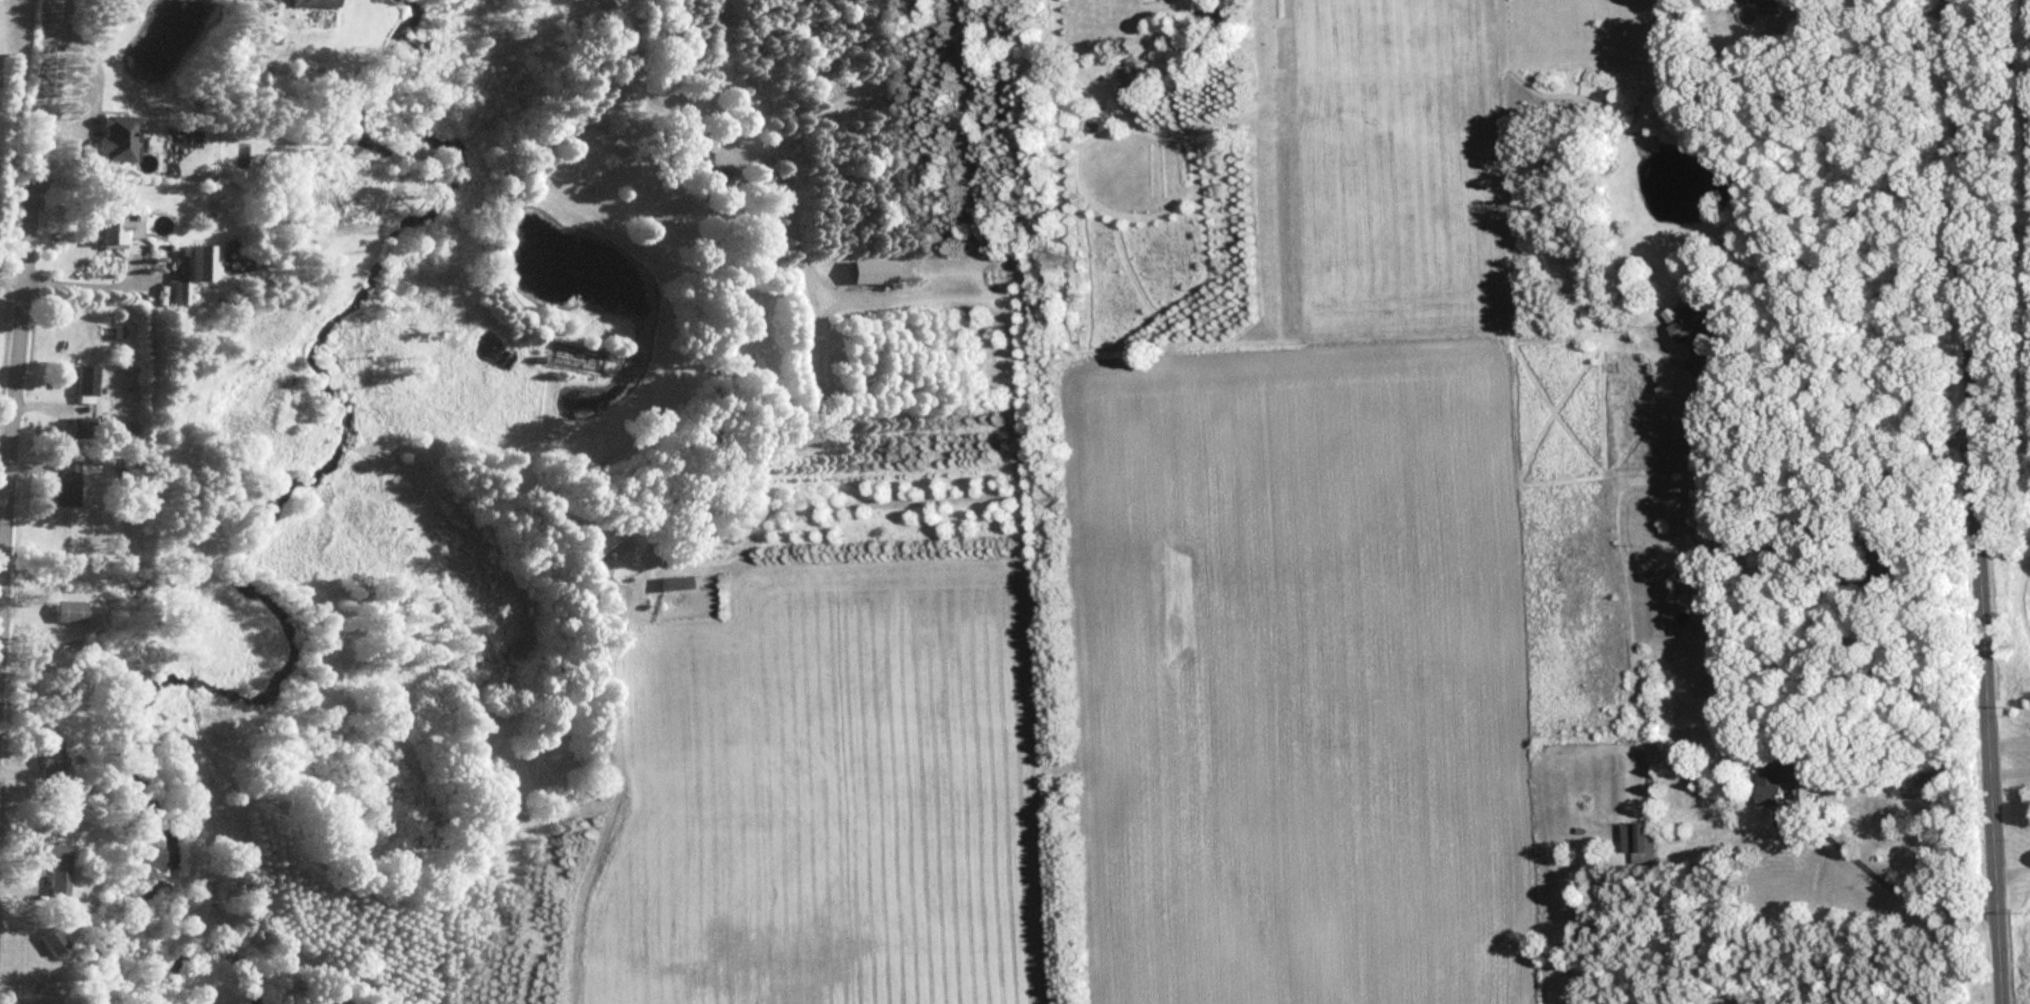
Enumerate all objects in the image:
building: (310, 3)
building: (1770, 7)
road: (1861, 8)
building: (113, 137)
building: (1640, 137)
building: (698, 163)
building: (114, 233)
building: (869, 271)
building: (188, 273)
road: (12, 281)
road: (95, 287)
road: (23, 305)
building: (1693, 321)
building: (83, 381)
road: (1833, 456)
building: (64, 485)
road: (1972, 502)
road: (749, 515)
building: (590, 545)
building: (671, 583)
building: (66, 612)
road: (2010, 744)
building: (46, 762)
road: (2011, 773)
building: (1773, 781)
building: (1639, 842)
building: (51, 866)
road: (2013, 870)
road: (1884, 883)
building: (48, 941)

